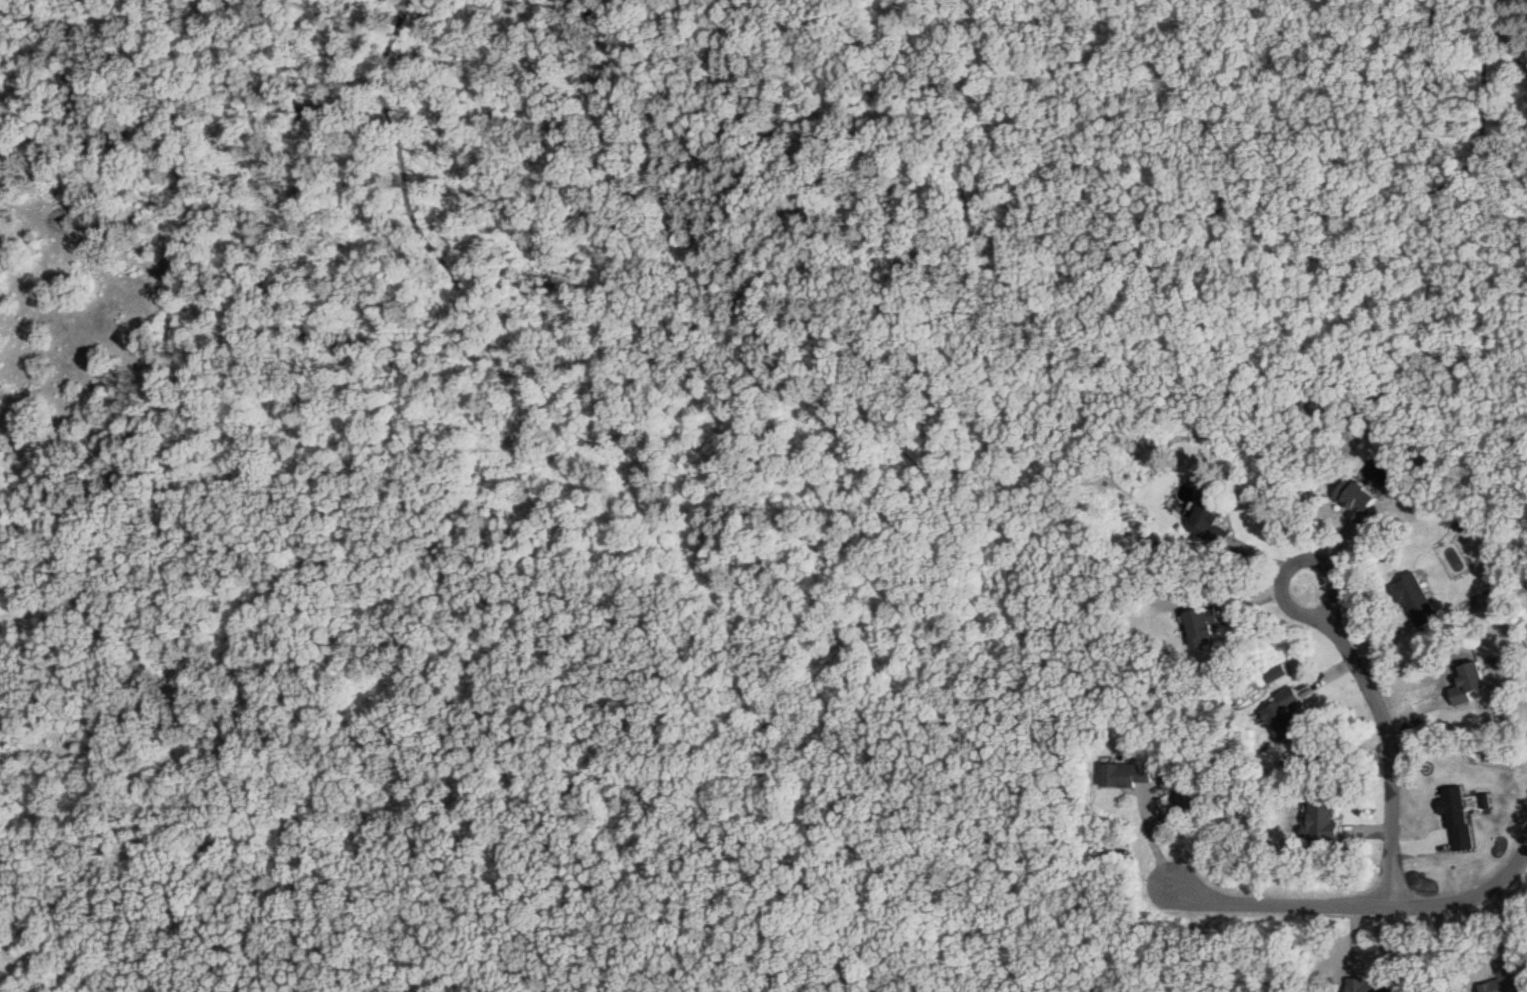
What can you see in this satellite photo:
building: (1352, 499)
building: (1207, 524)
building: (1414, 601)
building: (1200, 628)
road: (1357, 666)
building: (1471, 682)
building: (1281, 716)
building: (1125, 775)
building: (1320, 818)
road: (1356, 906)
building: (1502, 979)
building: (1367, 986)

